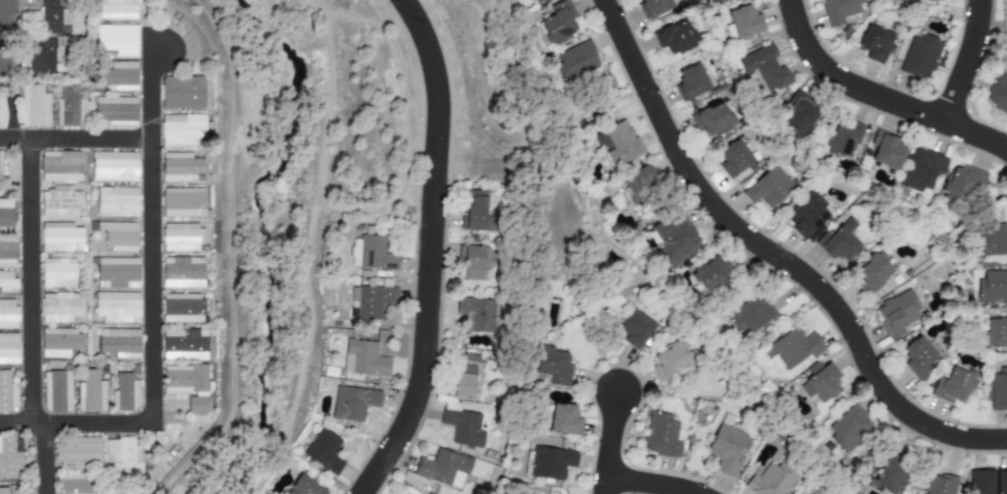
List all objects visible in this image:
building: (932, 0)
building: (713, 1)
road: (308, 5)
building: (657, 7)
street lamp: (386, 8)
road: (1, 9)
building: (118, 9)
building: (1006, 9)
building: (839, 10)
building: (53, 18)
building: (744, 21)
building: (557, 23)
road: (385, 29)
street lamp: (636, 32)
building: (673, 38)
building: (116, 39)
building: (874, 43)
building: (42, 55)
building: (920, 56)
road: (415, 61)
building: (575, 61)
road: (965, 62)
building: (763, 68)
building: (119, 76)
building: (691, 81)
building: (998, 91)
building: (182, 92)
road: (877, 97)
road: (7, 103)
building: (33, 106)
building: (69, 107)
building: (115, 111)
building: (2, 113)
building: (799, 114)
building: (712, 120)
building: (181, 129)
building: (842, 138)
road: (74, 139)
building: (619, 143)
building: (887, 150)
street lamp: (658, 156)
building: (733, 157)
building: (60, 166)
building: (114, 166)
building: (180, 167)
building: (0, 169)
building: (921, 170)
building: (639, 183)
building: (768, 188)
building: (961, 189)
building: (60, 201)
building: (117, 201)
building: (183, 203)
building: (475, 211)
building: (6, 212)
building: (806, 214)
building: (119, 236)
building: (61, 237)
building: (181, 238)
building: (675, 238)
building: (989, 240)
building: (839, 241)
road: (235, 246)
building: (8, 250)
road: (428, 251)
building: (370, 253)
road: (774, 257)
building: (477, 263)
building: (57, 272)
building: (182, 272)
building: (872, 272)
building: (117, 273)
building: (710, 274)
building: (7, 282)
building: (992, 286)
building: (370, 302)
building: (117, 307)
road: (150, 307)
building: (62, 308)
building: (182, 308)
building: (897, 313)
building: (8, 314)
building: (476, 315)
building: (750, 315)
road: (29, 317)
building: (635, 329)
building: (996, 333)
building: (60, 342)
building: (120, 342)
street lamp: (838, 344)
building: (184, 345)
building: (8, 348)
building: (792, 348)
road: (303, 351)
building: (917, 356)
building: (364, 359)
building: (670, 360)
building: (553, 366)
building: (820, 381)
building: (464, 382)
building: (187, 385)
building: (953, 385)
building: (998, 390)
building: (56, 391)
building: (90, 392)
building: (7, 393)
building: (124, 393)
building: (353, 403)
building: (564, 420)
street lamp: (162, 427)
building: (463, 428)
building: (849, 428)
building: (661, 435)
road: (608, 443)
street lamp: (932, 447)
building: (726, 449)
building: (324, 451)
building: (77, 452)
building: (8, 458)
building: (123, 458)
building: (550, 463)
building: (443, 469)
street lamp: (680, 473)
building: (891, 474)
building: (770, 480)
building: (1000, 481)
building: (981, 482)
building: (75, 484)
road: (648, 484)
building: (939, 484)
building: (304, 486)
building: (3, 491)

